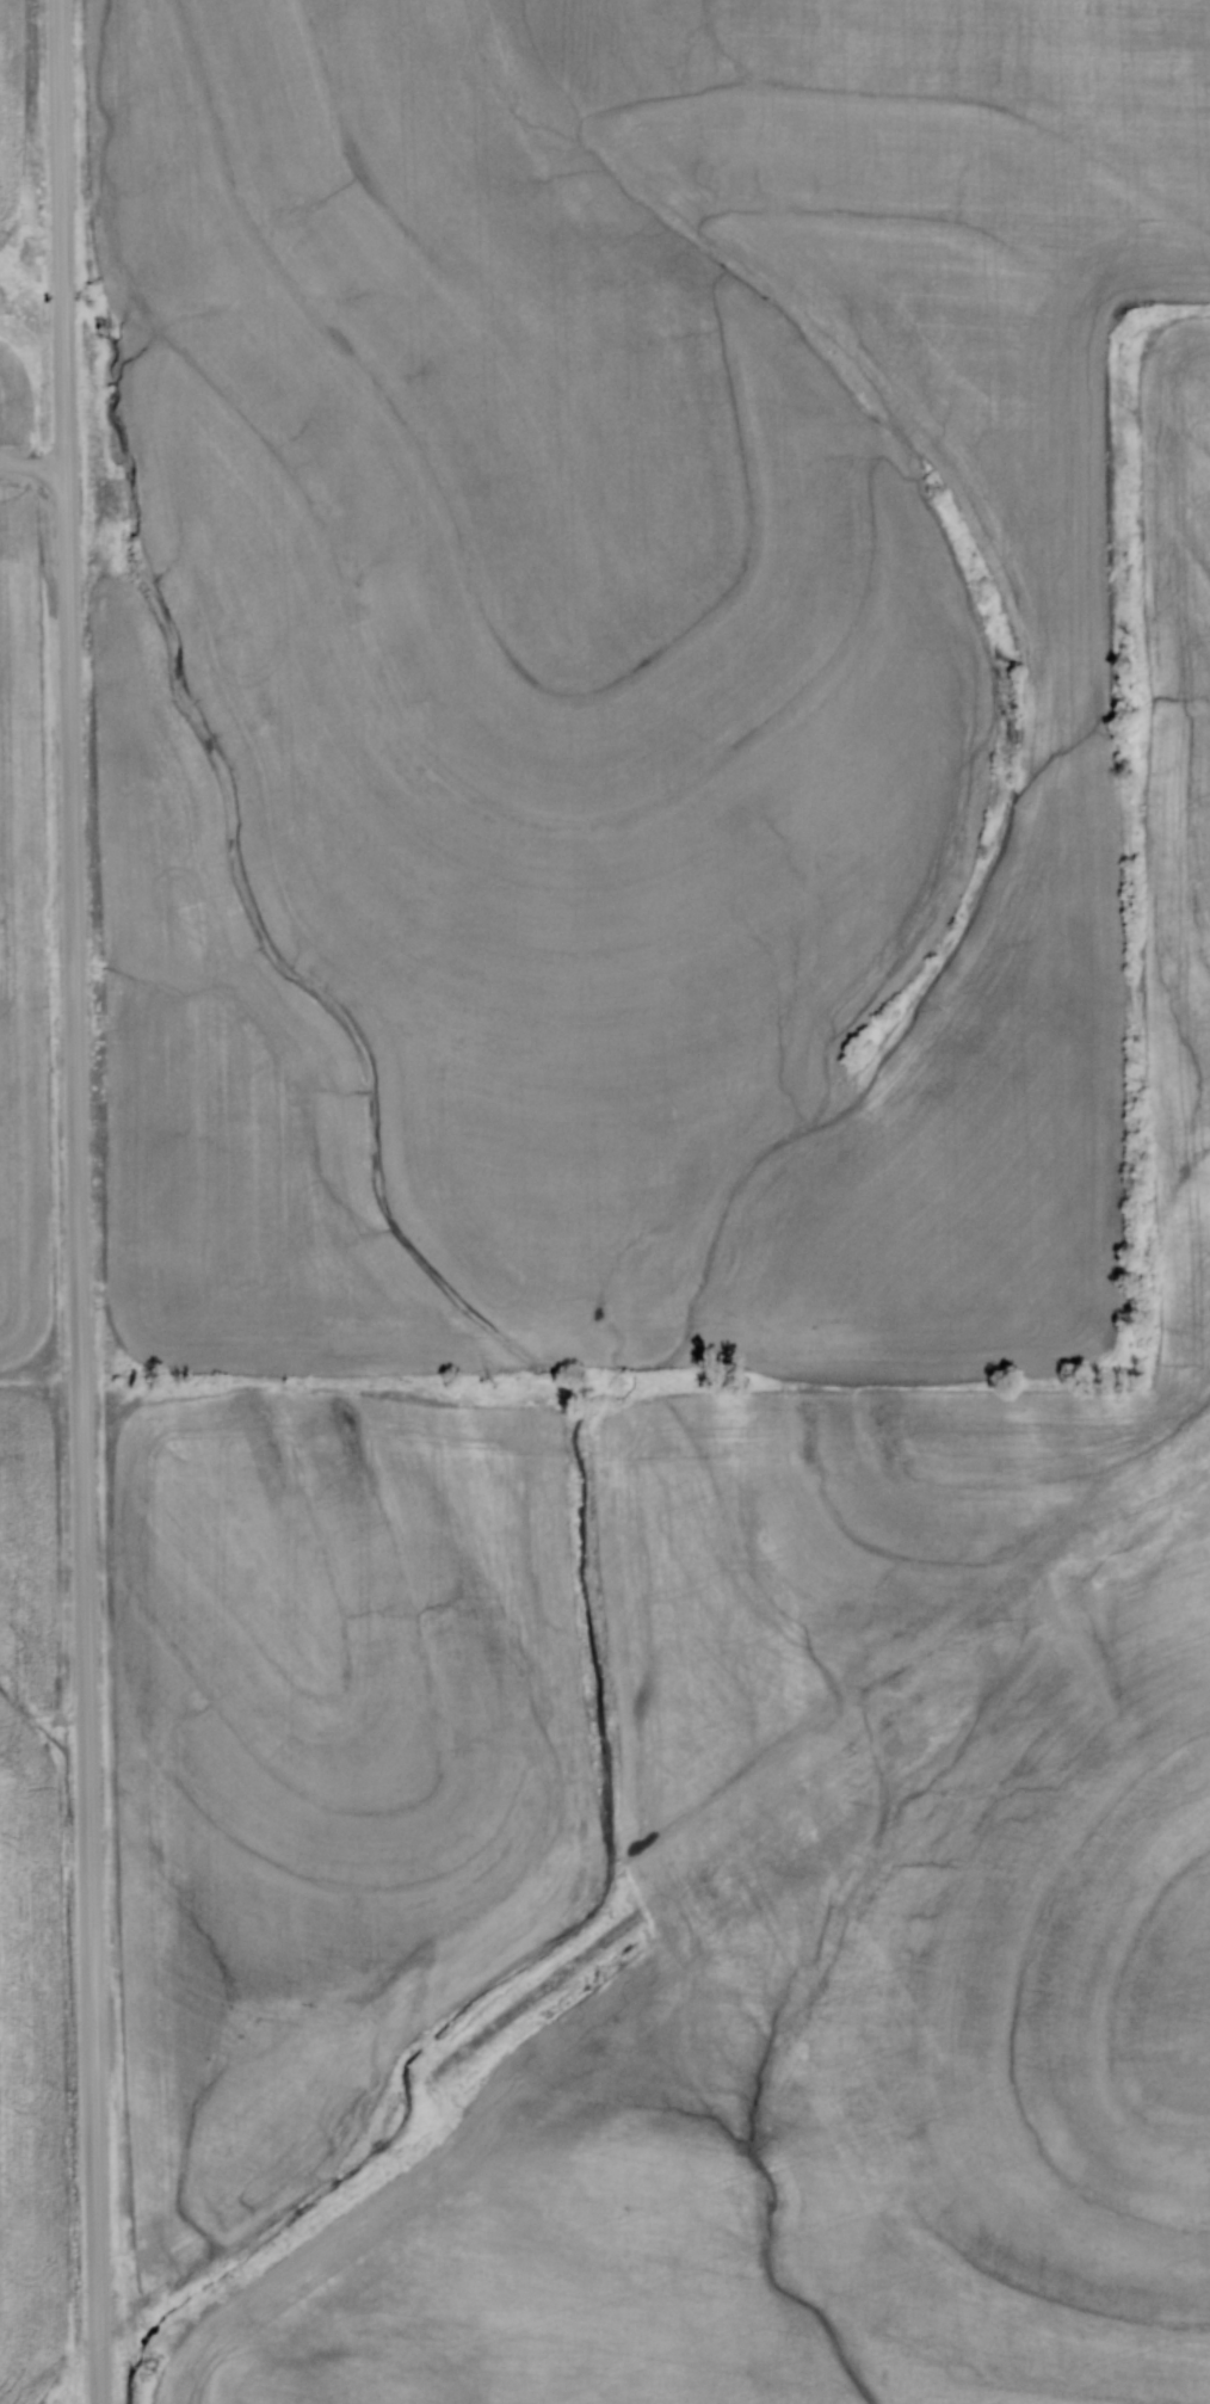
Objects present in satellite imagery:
road: (33, 460)
road: (69, 1202)

